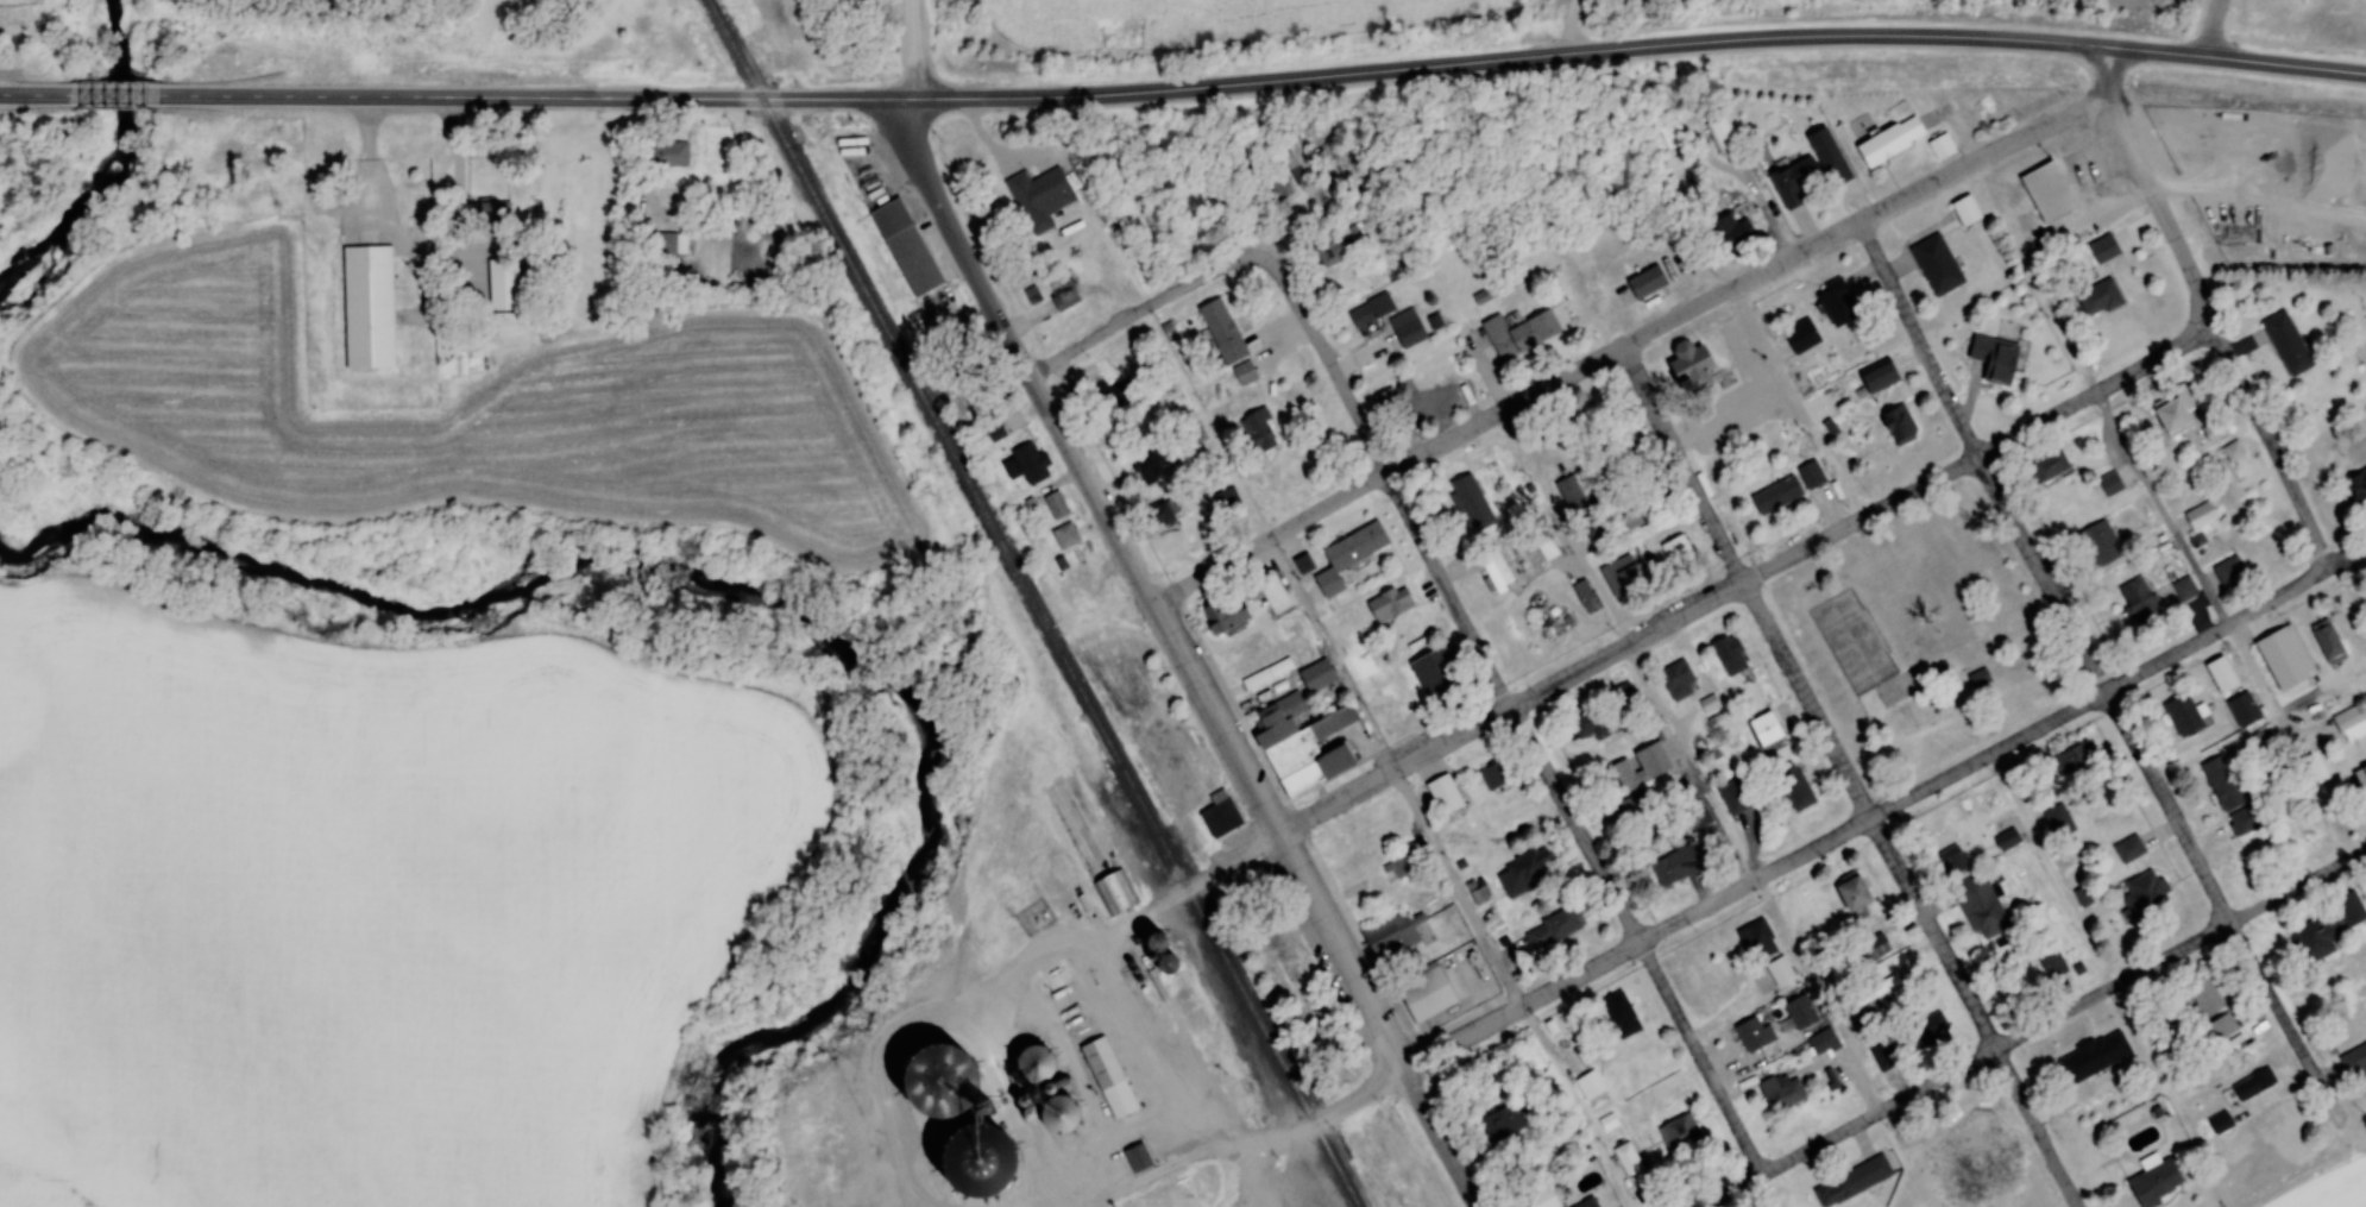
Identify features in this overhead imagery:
road: (1569, 27)
road: (2209, 30)
road: (1892, 38)
railway: (732, 49)
road: (912, 49)
road: (1581, 54)
road: (2153, 55)
road: (2283, 68)
road: (2102, 69)
road: (1410, 70)
road: (1187, 90)
road: (2098, 95)
road: (33, 99)
road: (698, 99)
road: (824, 99)
road: (118, 100)
road: (402, 100)
road: (901, 100)
road: (976, 100)
building: (1668, 130)
building: (1720, 136)
building: (1888, 142)
building: (1940, 147)
building: (667, 155)
road: (371, 164)
building: (1297, 164)
river: (113, 166)
building: (1793, 181)
road: (1931, 183)
road: (2139, 184)
road: (458, 187)
building: (1280, 188)
building: (2045, 193)
building: (1042, 199)
building: (1965, 212)
building: (487, 220)
building: (1732, 231)
building: (656, 244)
building: (908, 249)
building: (2102, 249)
building: (1332, 251)
road: (1234, 263)
building: (1936, 265)
building: (1644, 282)
building: (504, 285)
building: (2097, 297)
building: (1063, 300)
building: (1835, 301)
building: (370, 308)
building: (1368, 310)
building: (1405, 329)
building: (1220, 332)
building: (1518, 334)
building: (1800, 337)
road: (1918, 339)
road: (1093, 341)
building: (2285, 342)
building: (1997, 352)
road: (1020, 354)
building: (1686, 366)
building: (1241, 376)
building: (1876, 378)
railway: (912, 384)
road: (1783, 391)
road: (2095, 394)
building: (1115, 395)
building: (1428, 403)
road: (1519, 404)
building: (2173, 414)
road: (2257, 416)
building: (1898, 425)
building: (1256, 430)
building: (2213, 430)
road: (1363, 432)
building: (994, 433)
building: (2232, 452)
road: (1829, 453)
building: (1624, 459)
building: (1027, 464)
building: (1150, 464)
road: (1687, 466)
building: (2049, 469)
building: (1810, 474)
building: (2109, 484)
building: (1569, 492)
building: (1774, 496)
building: (1225, 498)
building: (1471, 503)
building: (1055, 505)
building: (1641, 514)
building: (1160, 515)
building: (2200, 516)
road: (1864, 521)
road: (2169, 522)
building: (1538, 532)
building: (1064, 536)
building: (2097, 545)
building: (1676, 554)
building: (1347, 555)
building: (1302, 564)
building: (1495, 568)
building: (2228, 571)
road: (1216, 572)
road: (2043, 577)
building: (1270, 589)
building: (2183, 590)
building: (1582, 597)
river: (763, 598)
building: (2137, 602)
building: (1389, 604)
road: (1309, 610)
building: (1226, 615)
road: (2220, 629)
park: (1927, 636)
building: (2327, 643)
road: (1629, 646)
road: (1630, 646)
building: (1728, 655)
road: (1486, 664)
building: (2269, 667)
building: (1266, 674)
building: (1435, 674)
building: (1315, 675)
building: (1977, 679)
building: (1676, 680)
road: (1812, 698)
building: (2242, 710)
building: (1386, 715)
building: (2182, 716)
building: (2348, 721)
road: (1368, 725)
building: (1586, 725)
building: (1763, 730)
road: (1451, 740)
building: (2261, 740)
building: (1300, 743)
road: (1990, 754)
building: (2072, 757)
building: (1651, 763)
building: (1496, 774)
building: (2360, 781)
building: (2221, 784)
building: (1792, 786)
building: (1442, 794)
building: (1735, 797)
road: (1336, 800)
building: (1632, 809)
building: (1217, 815)
building: (1694, 816)
building: (2247, 818)
building: (1518, 821)
building: (2058, 821)
road: (1285, 835)
building: (2006, 840)
railway: (1141, 842)
road: (1817, 845)
building: (2128, 849)
building: (1953, 860)
building: (1674, 867)
building: (1398, 869)
building: (1524, 869)
road: (2053, 869)
road: (1456, 889)
building: (1112, 893)
building: (2141, 894)
building: (1850, 895)
building: (1980, 906)
road: (2228, 916)
building: (1552, 929)
building: (2327, 929)
road: (1933, 931)
railway: (1214, 936)
road: (1637, 938)
building: (1757, 939)
road: (1642, 944)
building: (1873, 949)
road: (2179, 951)
building: (1416, 960)
building: (1158, 964)
building: (2052, 964)
road: (1110, 966)
building: (1779, 970)
building: (1875, 991)
road: (1820, 992)
building: (2204, 997)
building: (1799, 1011)
building: (1619, 1014)
building: (2221, 1026)
building: (1924, 1031)
building: (1749, 1035)
road: (1464, 1038)
building: (1821, 1042)
building: (1881, 1052)
building: (2354, 1060)
building: (1027, 1063)
building: (2069, 1070)
building: (1107, 1079)
road: (1937, 1080)
road: (1081, 1081)
building: (1590, 1085)
building: (2253, 1085)
building: (1781, 1092)
building: (979, 1093)
road: (1353, 1098)
road: (1153, 1115)
building: (1056, 1117)
building: (1503, 1121)
building: (2219, 1123)
road: (2034, 1129)
building: (1680, 1134)
building: (1000, 1137)
road: (1441, 1138)
park: (1970, 1144)
building: (1135, 1157)
road: (1250, 1157)
road: (1787, 1157)
building: (1628, 1159)
building: (1851, 1181)
building: (2154, 1183)
building: (1586, 1203)

